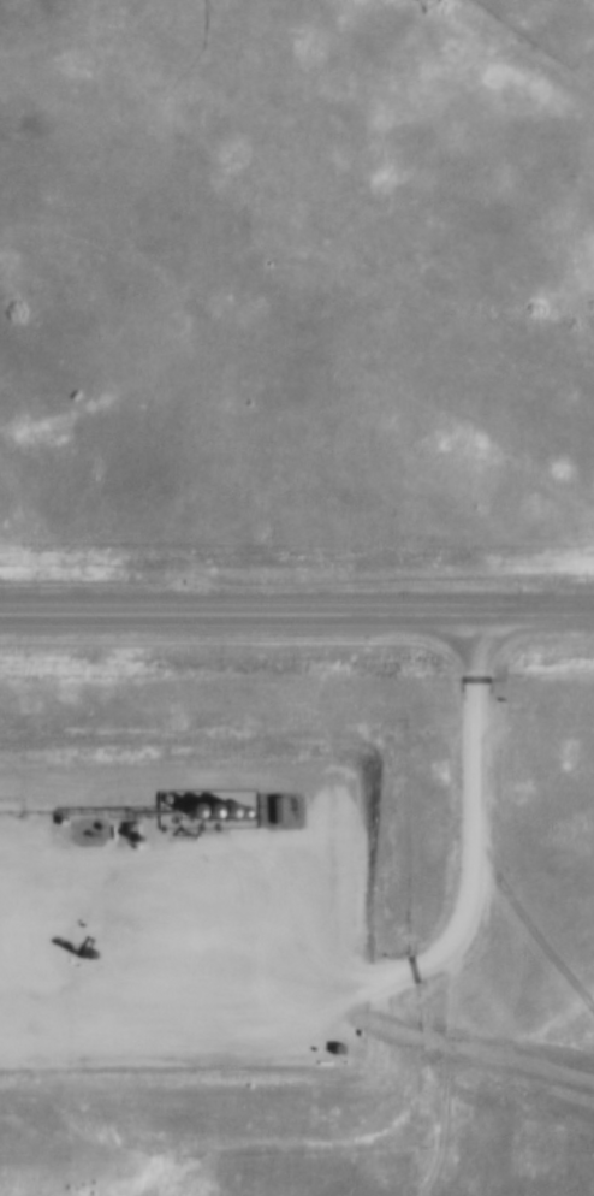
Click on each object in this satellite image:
road: (296, 618)
building: (237, 809)
storage tank: (237, 809)
building: (218, 810)
storage tank: (218, 810)
building: (183, 811)
storage tank: (183, 811)
building: (201, 811)
storage tank: (201, 811)
road: (465, 827)

